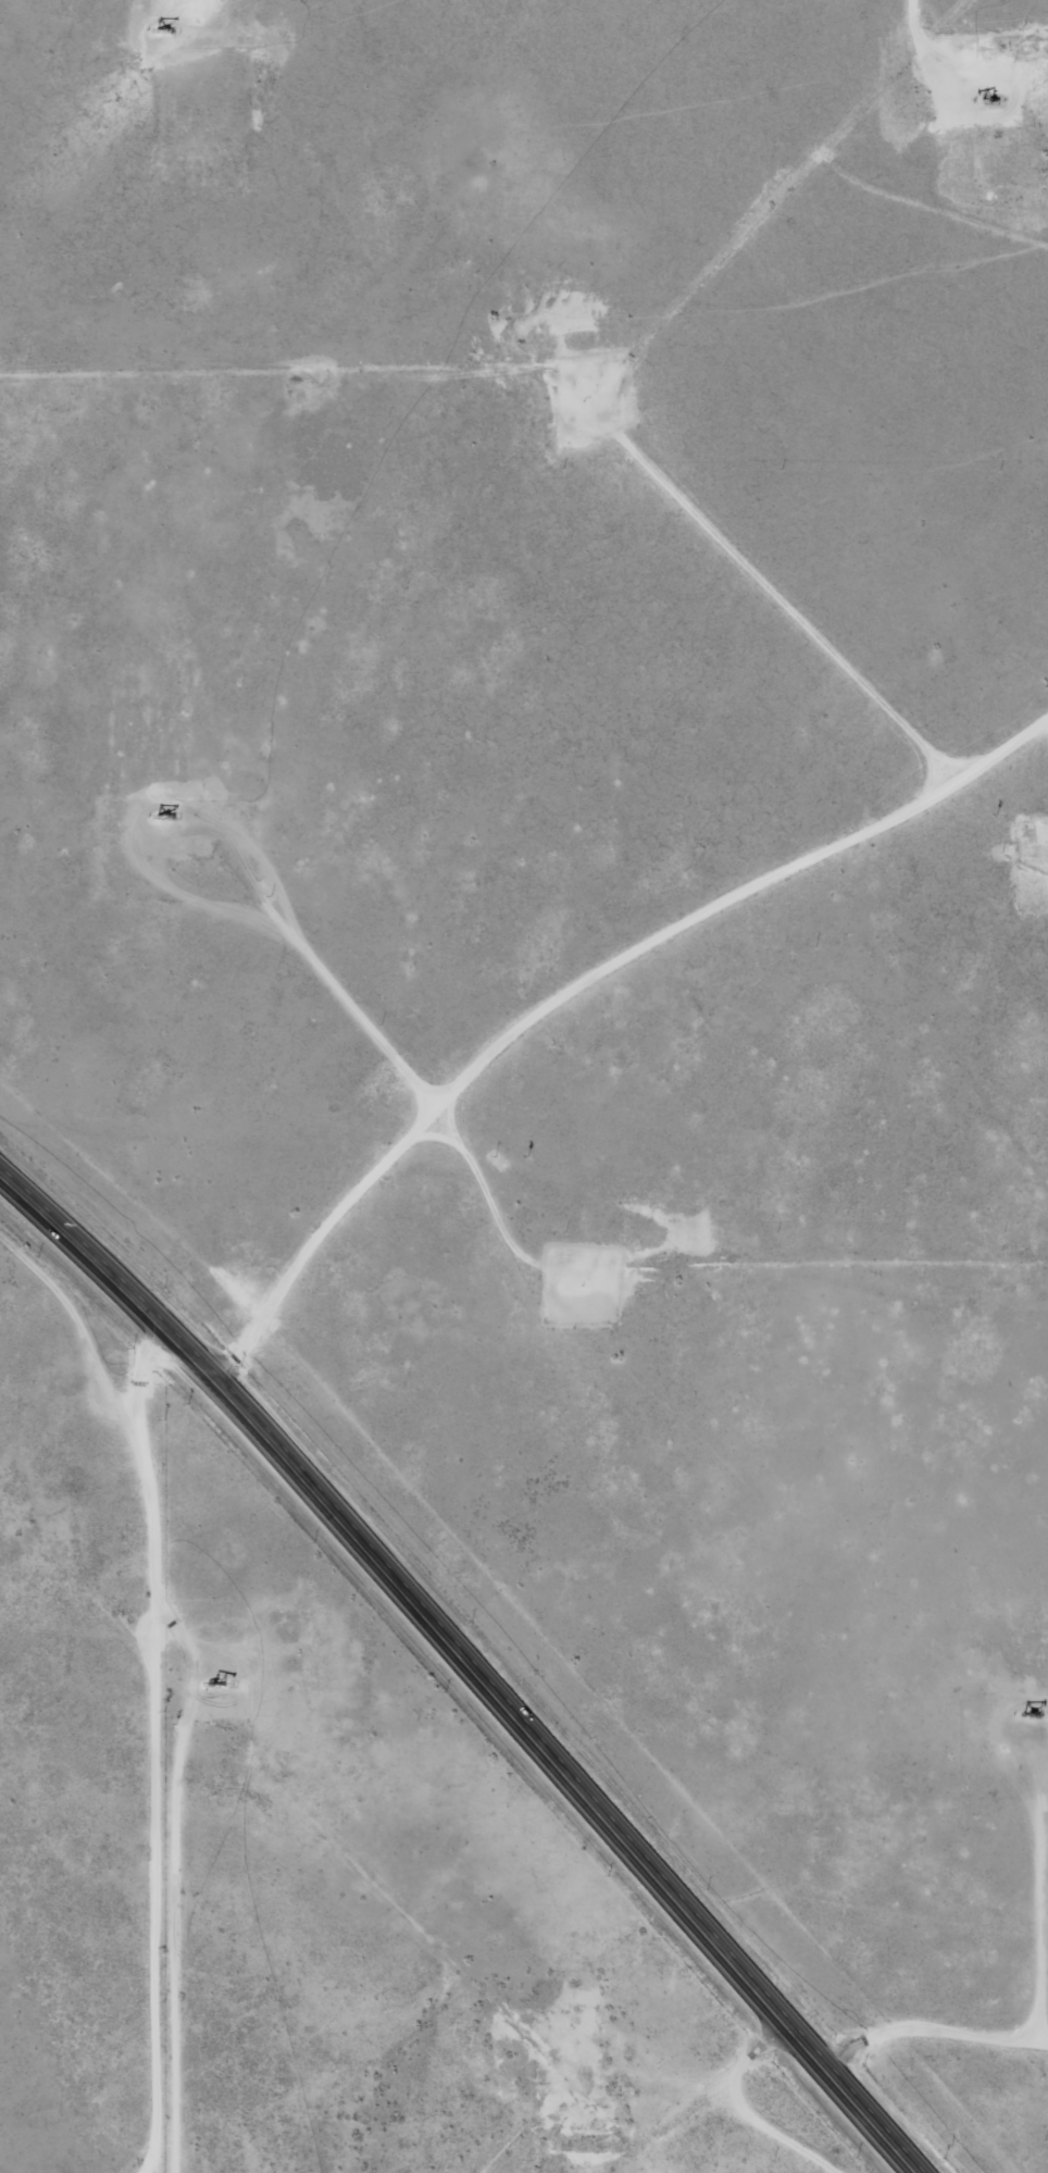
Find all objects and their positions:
road: (801, 612)
road: (265, 1288)
road: (65, 1341)
road: (461, 1673)
road: (931, 2046)

